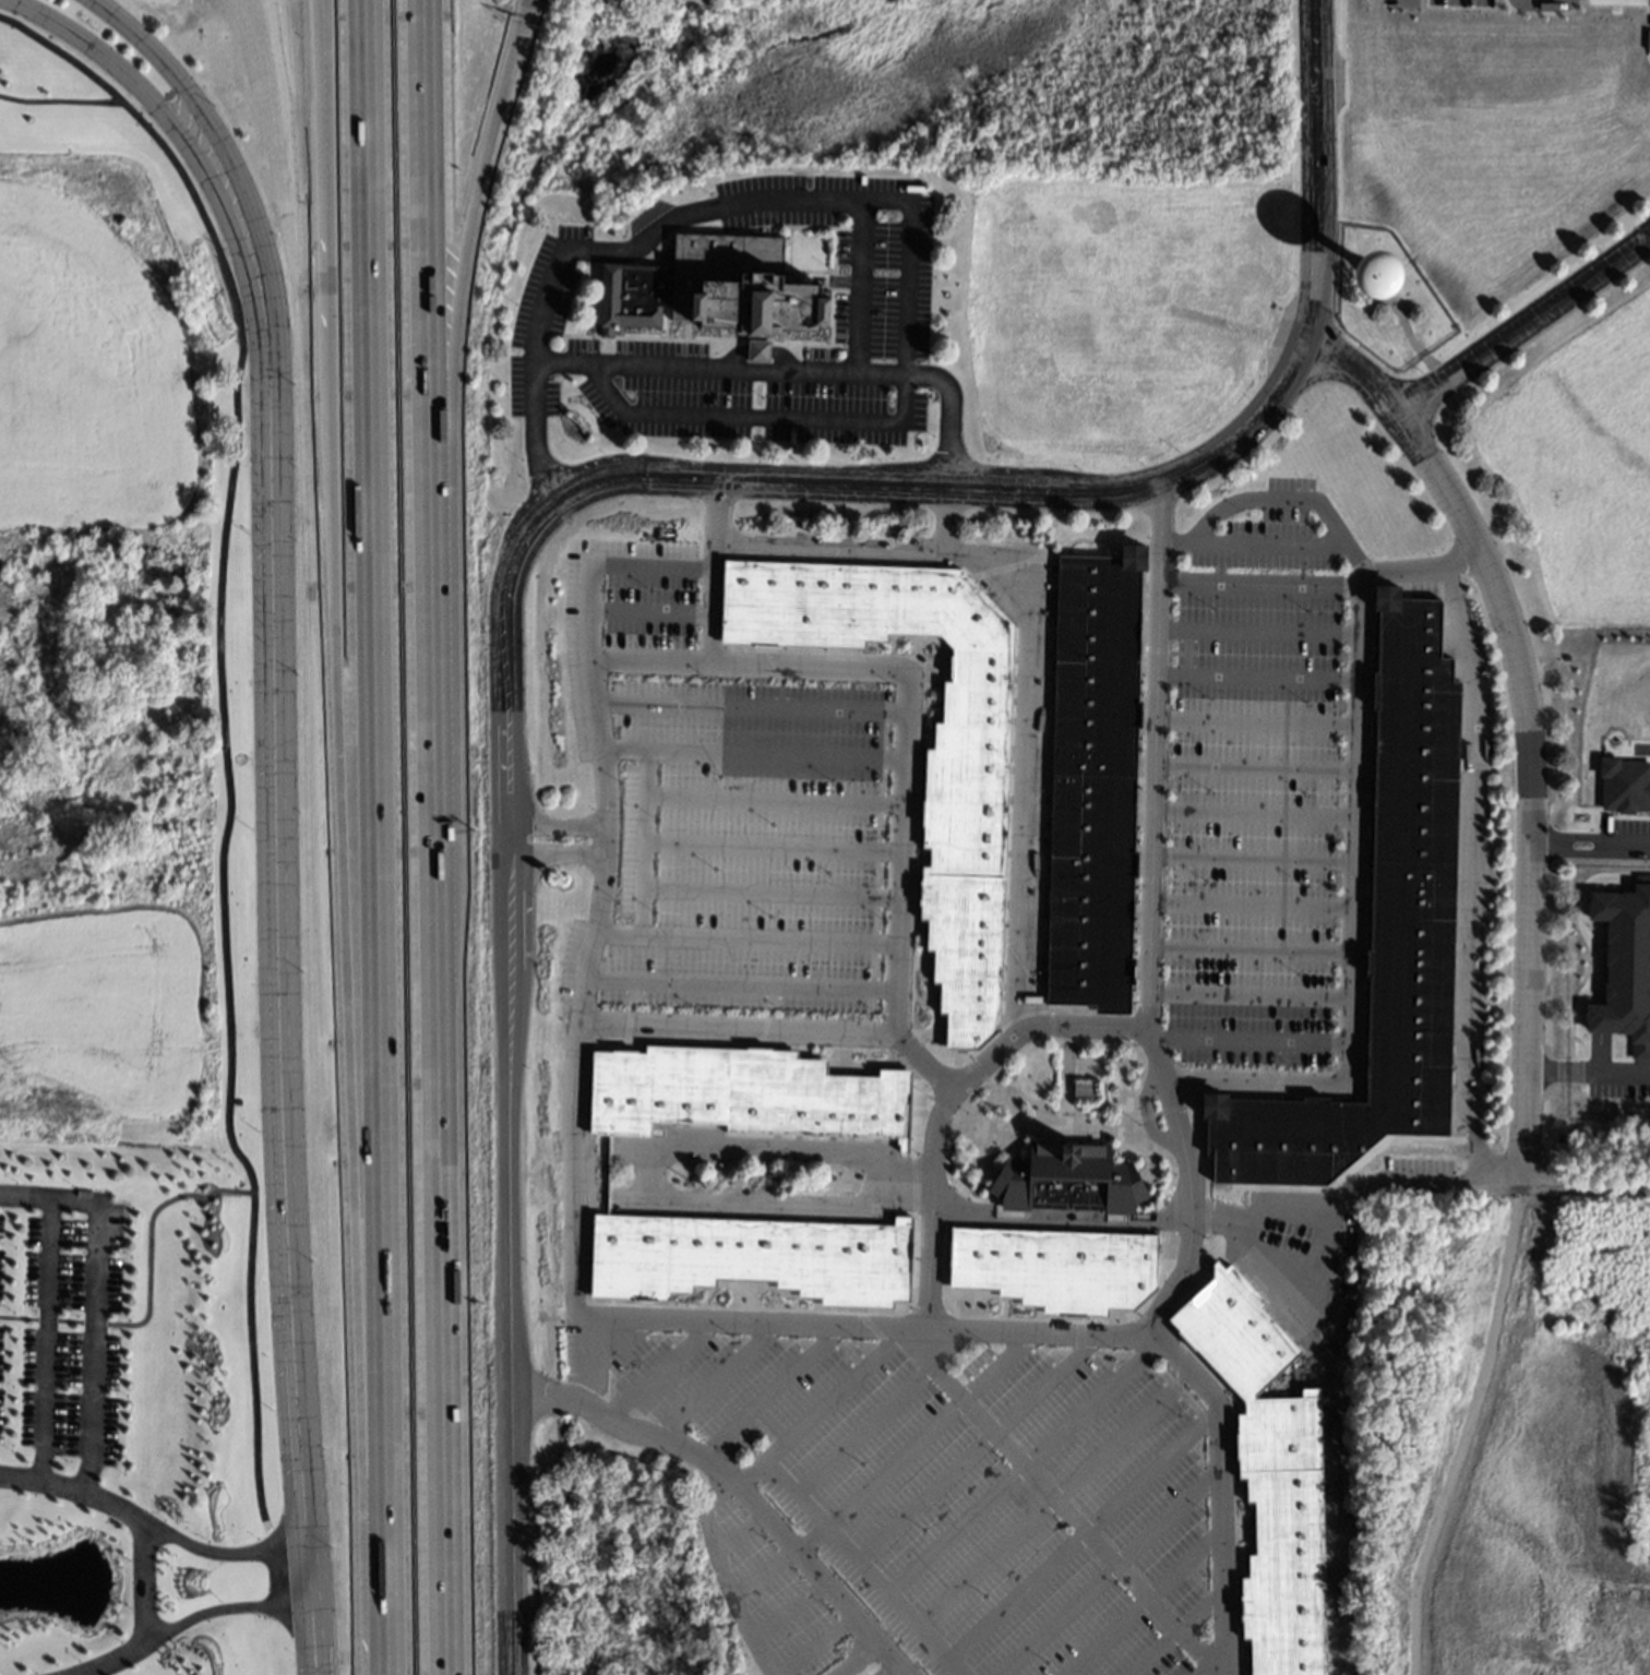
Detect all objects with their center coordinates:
road: (524, 21)
road: (159, 118)
road: (207, 121)
road: (1315, 172)
road: (786, 201)
road: (330, 227)
road: (653, 230)
road: (907, 266)
water tower: (1374, 285)
building: (740, 291)
building: (631, 296)
road: (859, 311)
parking lot: (880, 312)
road: (538, 315)
road: (1521, 325)
road: (756, 351)
road: (730, 357)
road: (780, 358)
road: (693, 369)
road: (1352, 372)
road: (946, 415)
road: (754, 420)
road: (533, 460)
road: (1185, 470)
road: (765, 481)
road: (1239, 501)
road: (416, 506)
road: (1157, 513)
road: (942, 523)
road: (451, 525)
road: (1250, 546)
road: (1157, 558)
road: (1415, 571)
road: (709, 572)
road: (1255, 586)
road: (585, 601)
road: (646, 613)
road: (1254, 635)
road: (1033, 647)
road: (647, 663)
road: (1253, 679)
road: (748, 710)
road: (1252, 726)
road: (750, 755)
road: (1251, 770)
building: (1097, 779)
parking lot: (1251, 783)
road: (1525, 785)
building: (968, 799)
road: (769, 802)
parking lot: (715, 814)
road: (1250, 814)
road: (553, 827)
road: (343, 837)
road: (374, 837)
road: (1587, 838)
road: (603, 842)
road: (639, 845)
road: (768, 848)
road: (553, 856)
road: (1248, 860)
road: (1347, 876)
road: (1467, 877)
road: (767, 894)
road: (1247, 907)
road: (894, 910)
building: (1385, 932)
road: (742, 941)
road: (1246, 953)
road: (583, 973)
road: (280, 977)
road: (737, 986)
road: (1245, 997)
road: (1143, 1029)
road: (1245, 1042)
road: (919, 1065)
road: (1585, 1069)
road: (1107, 1078)
building: (1084, 1090)
road: (505, 1093)
building: (748, 1094)
road: (1143, 1116)
road: (648, 1156)
parking lot: (1414, 1168)
road: (734, 1180)
building: (1073, 1180)
road: (1185, 1185)
road: (1585, 1187)
road: (1349, 1196)
building: (753, 1258)
parking lot: (1302, 1266)
road: (1260, 1267)
building: (1061, 1269)
road: (1316, 1297)
road: (96, 1301)
road: (895, 1330)
road: (46, 1339)
road: (434, 1343)
road: (593, 1343)
road: (924, 1348)
road: (654, 1374)
road: (709, 1383)
road: (764, 1392)
road: (876, 1412)
road: (971, 1449)
road: (1019, 1468)
road: (883, 1469)
building: (1267, 1469)
road: (733, 1488)
road: (793, 1493)
parking lot: (933, 1497)
road: (1048, 1497)
road: (1051, 1499)
road: (715, 1518)
road: (1338, 1524)
road: (152, 1526)
road: (741, 1531)
road: (1077, 1536)
road: (1101, 1572)
road: (143, 1583)
road: (889, 1600)
road: (1136, 1602)
road: (784, 1610)
road: (188, 1620)
road: (1172, 1632)
road: (853, 1660)
road: (1212, 1664)
road: (1198, 1670)
road: (889, 1671)
road: (88, 1673)

